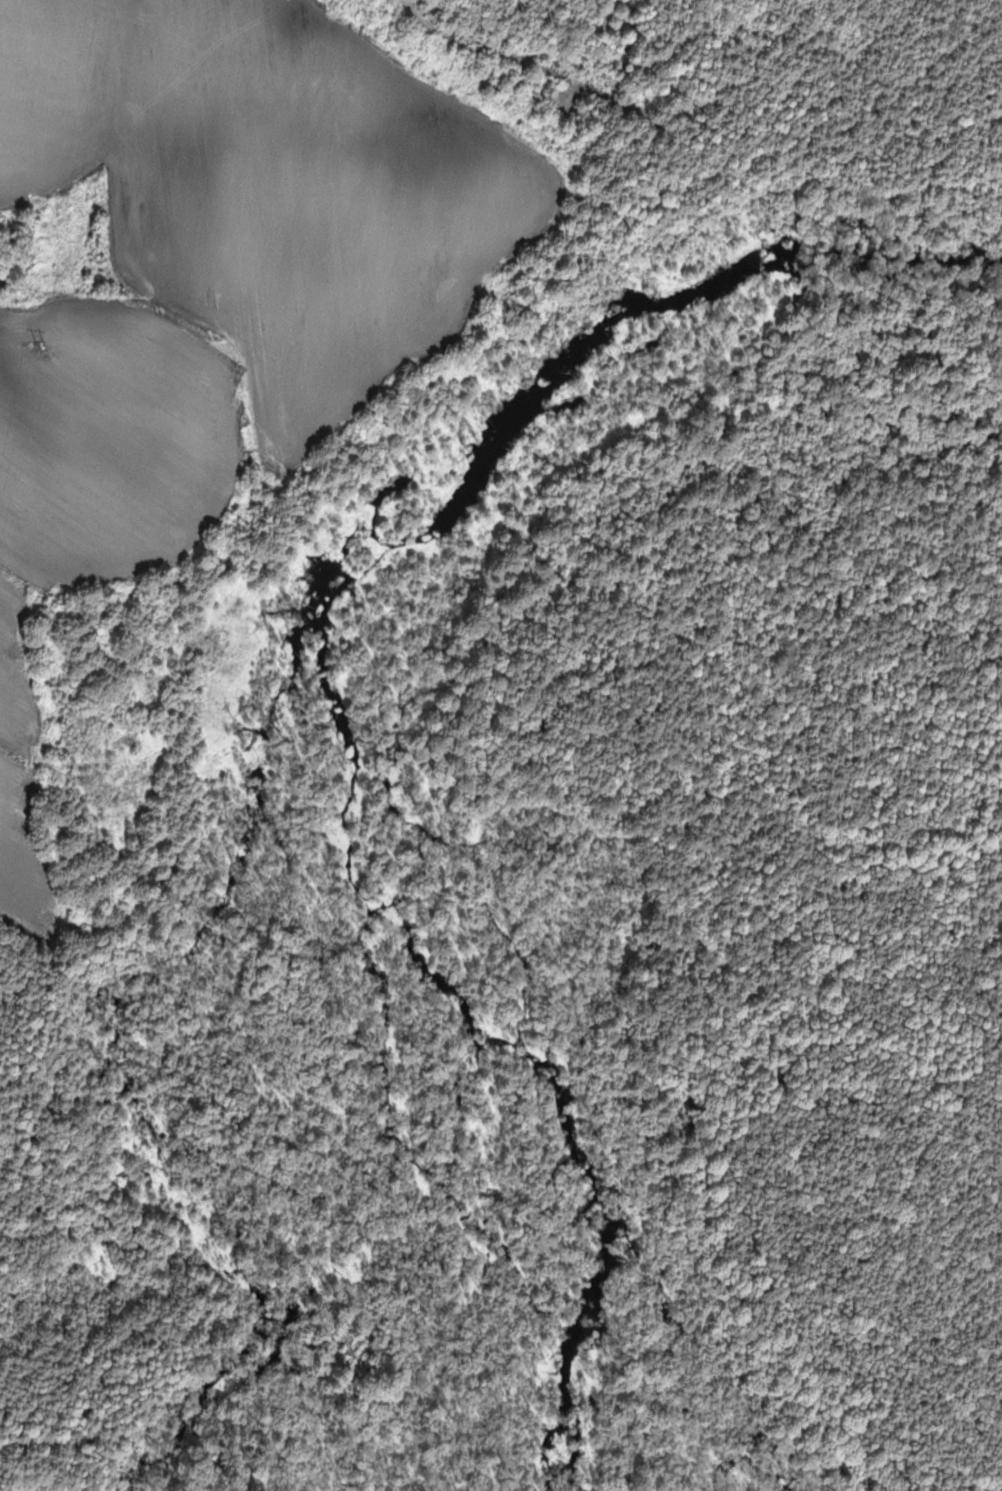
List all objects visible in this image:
power tower: (41, 343)

